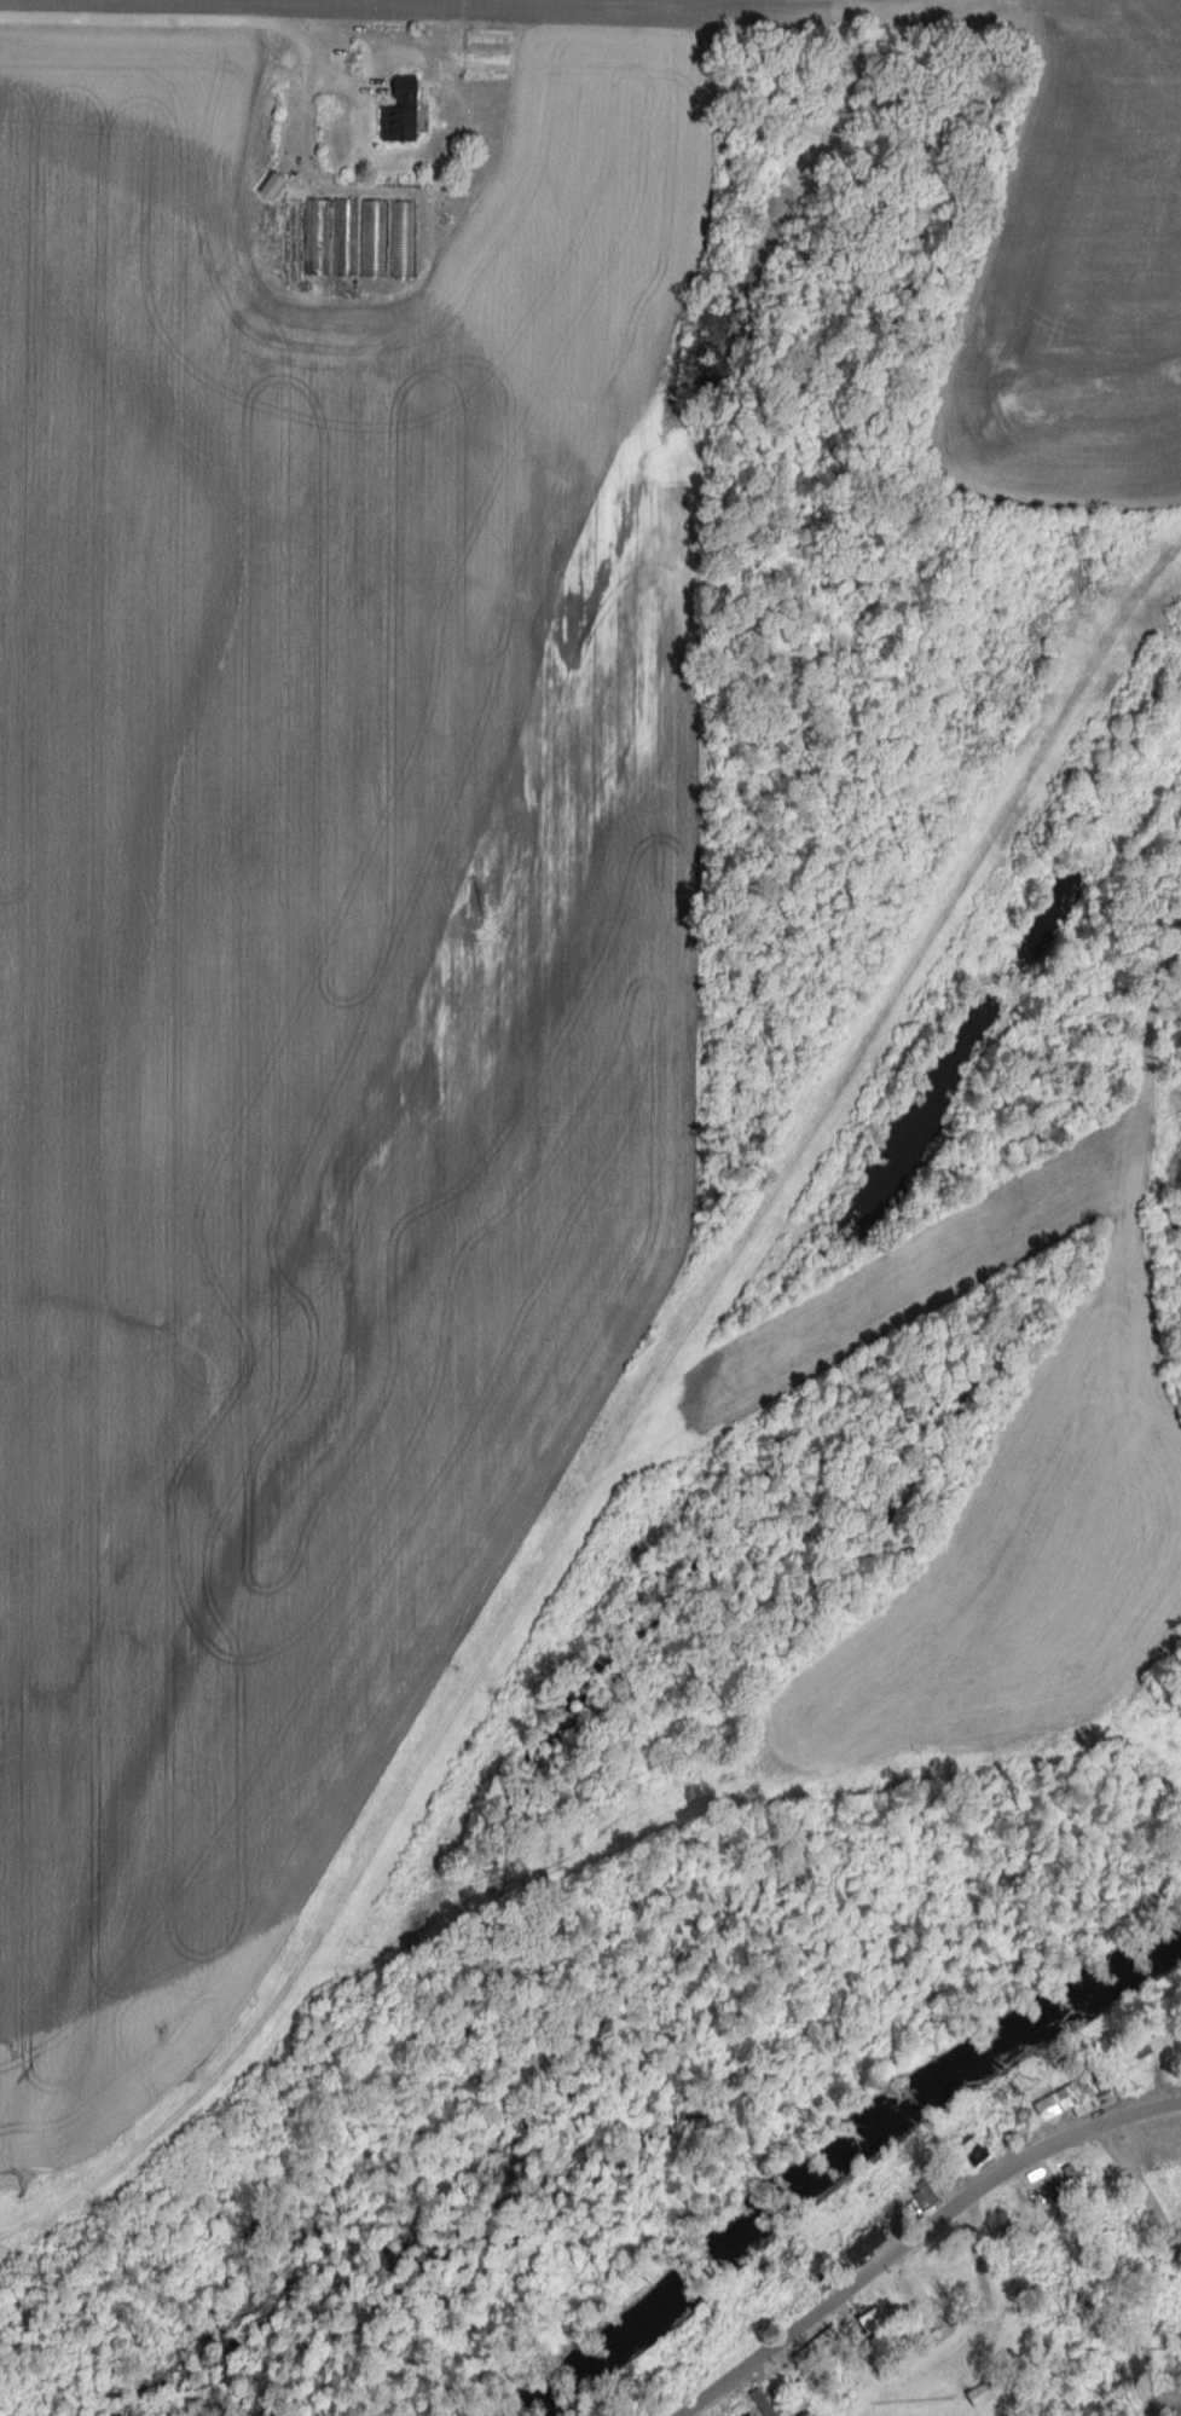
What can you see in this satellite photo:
road: (227, 13)
parking lot: (302, 67)
road: (352, 82)
building: (405, 111)
building: (276, 187)
building: (322, 238)
building: (349, 238)
building: (377, 238)
building: (407, 239)
building: (1076, 2099)
building: (973, 2155)
river: (841, 2158)
road: (1142, 2191)
road: (916, 2233)
building: (861, 2252)
building: (866, 2327)
building: (984, 2394)
building: (765, 2403)
building: (756, 2414)

